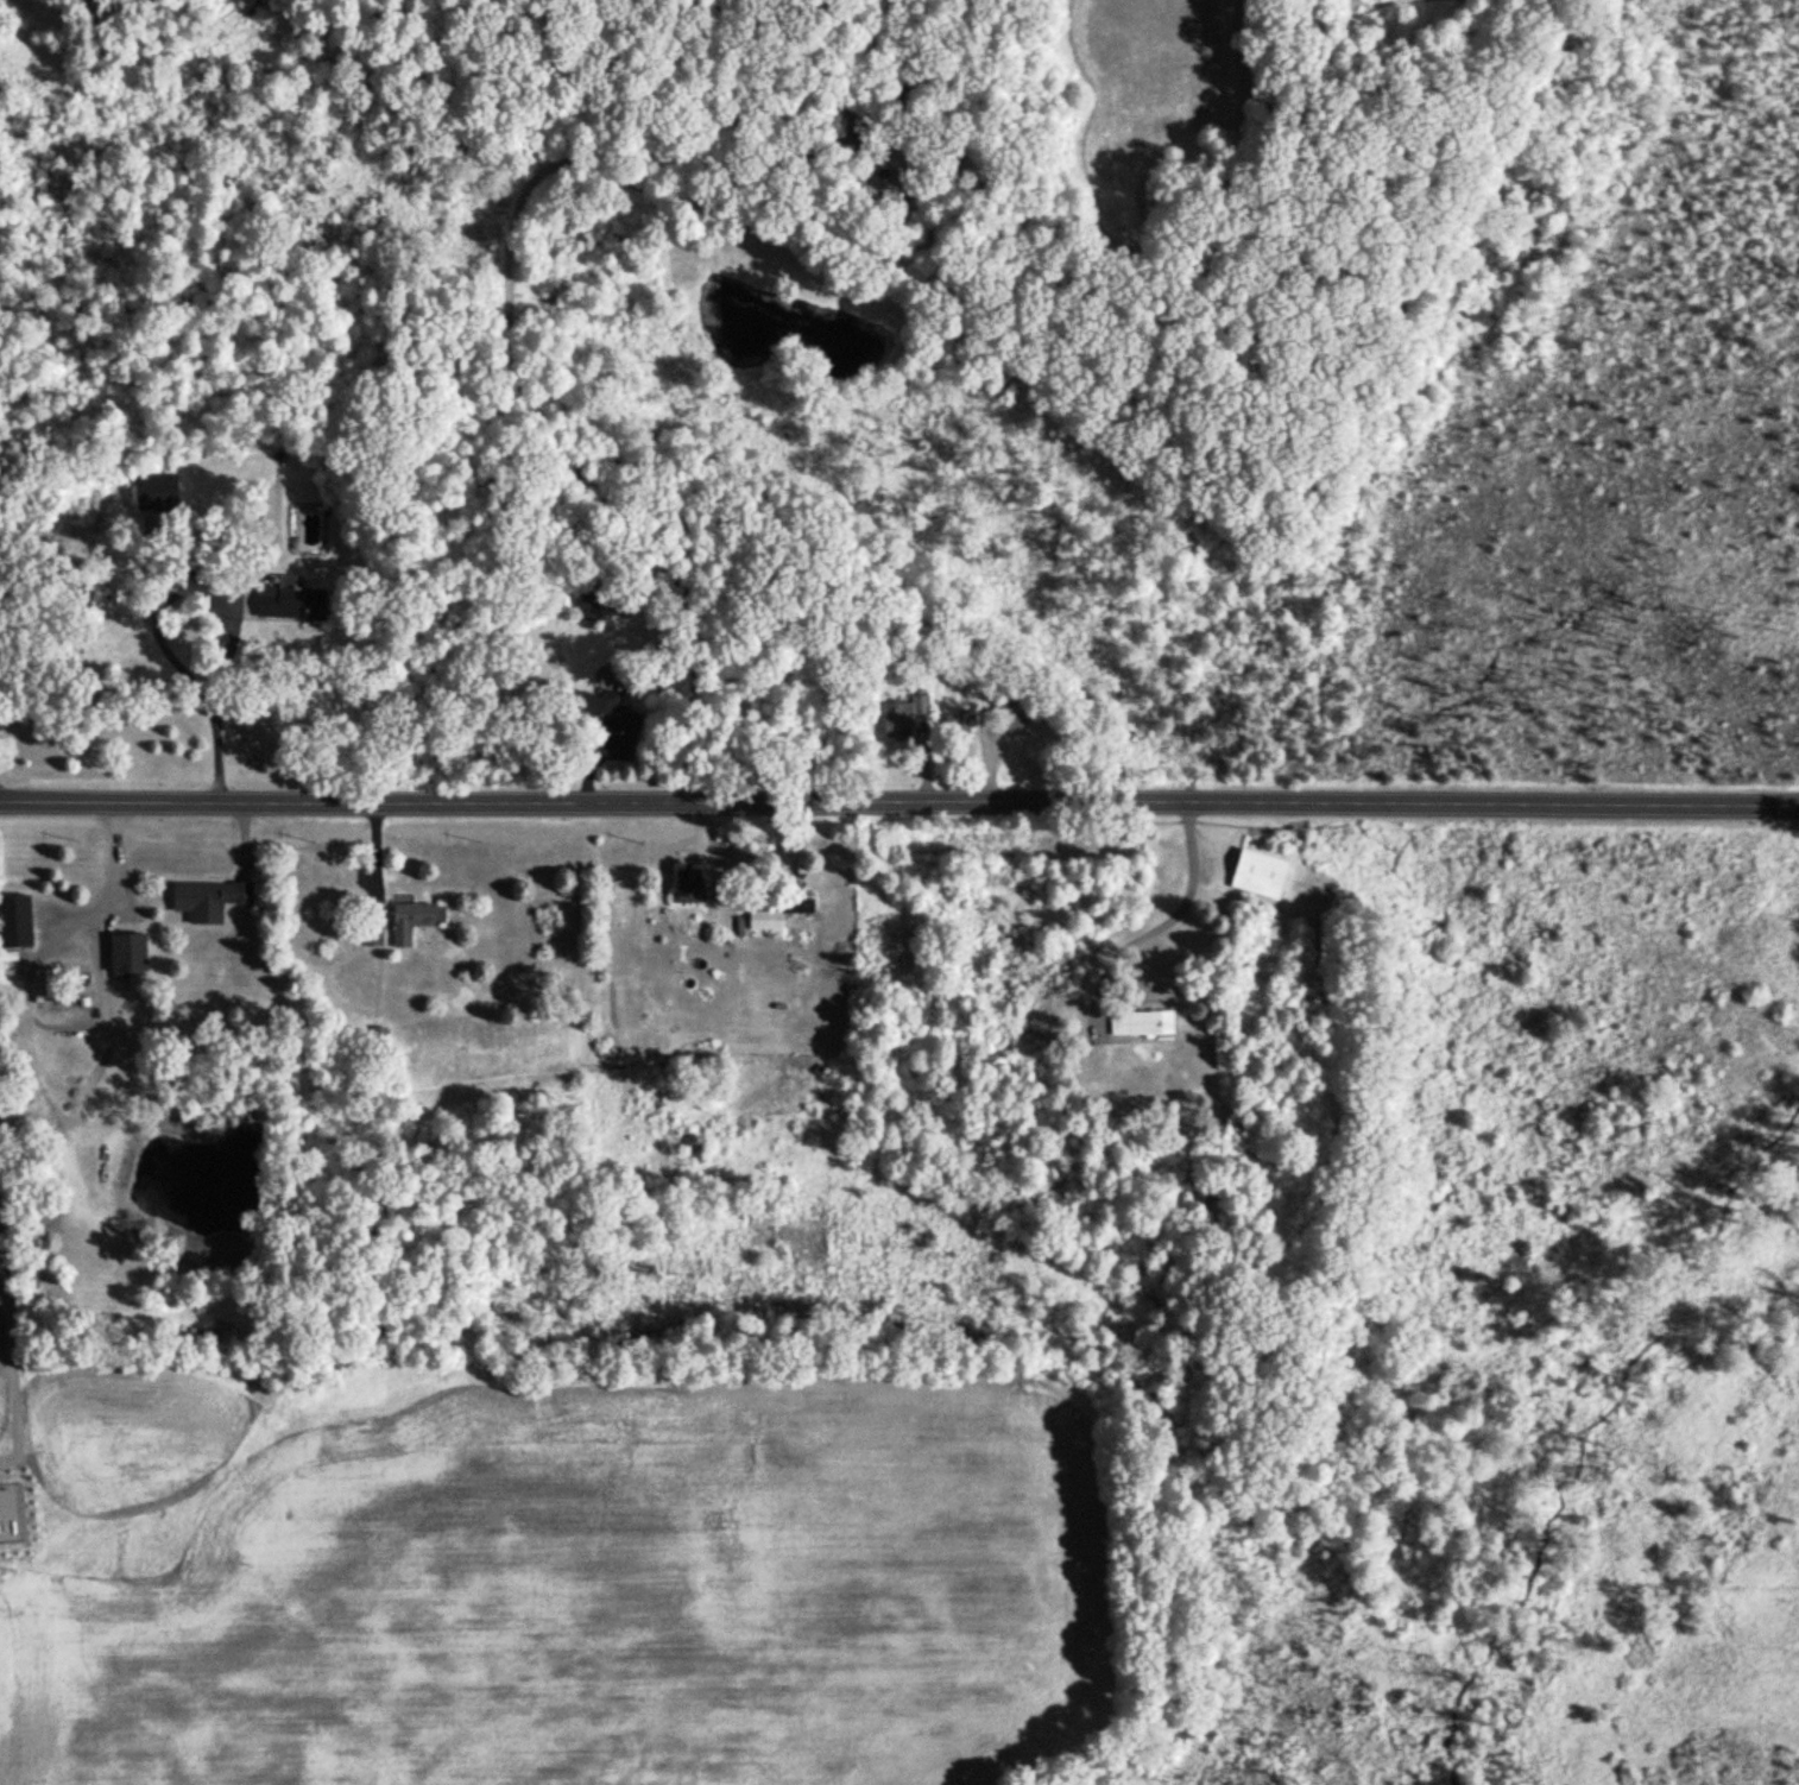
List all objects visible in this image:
road: (515, 372)
building: (154, 488)
building: (291, 600)
building: (587, 604)
road: (151, 611)
building: (607, 711)
building: (1010, 713)
building: (901, 714)
building: (955, 720)
road: (899, 802)
building: (1257, 871)
building: (686, 883)
building: (207, 896)
road: (1166, 916)
building: (414, 917)
building: (764, 917)
building: (14, 919)
building: (126, 952)
building: (1138, 1023)
crop: (2, 1092)
crop: (582, 1565)
crop: (29, 1689)

